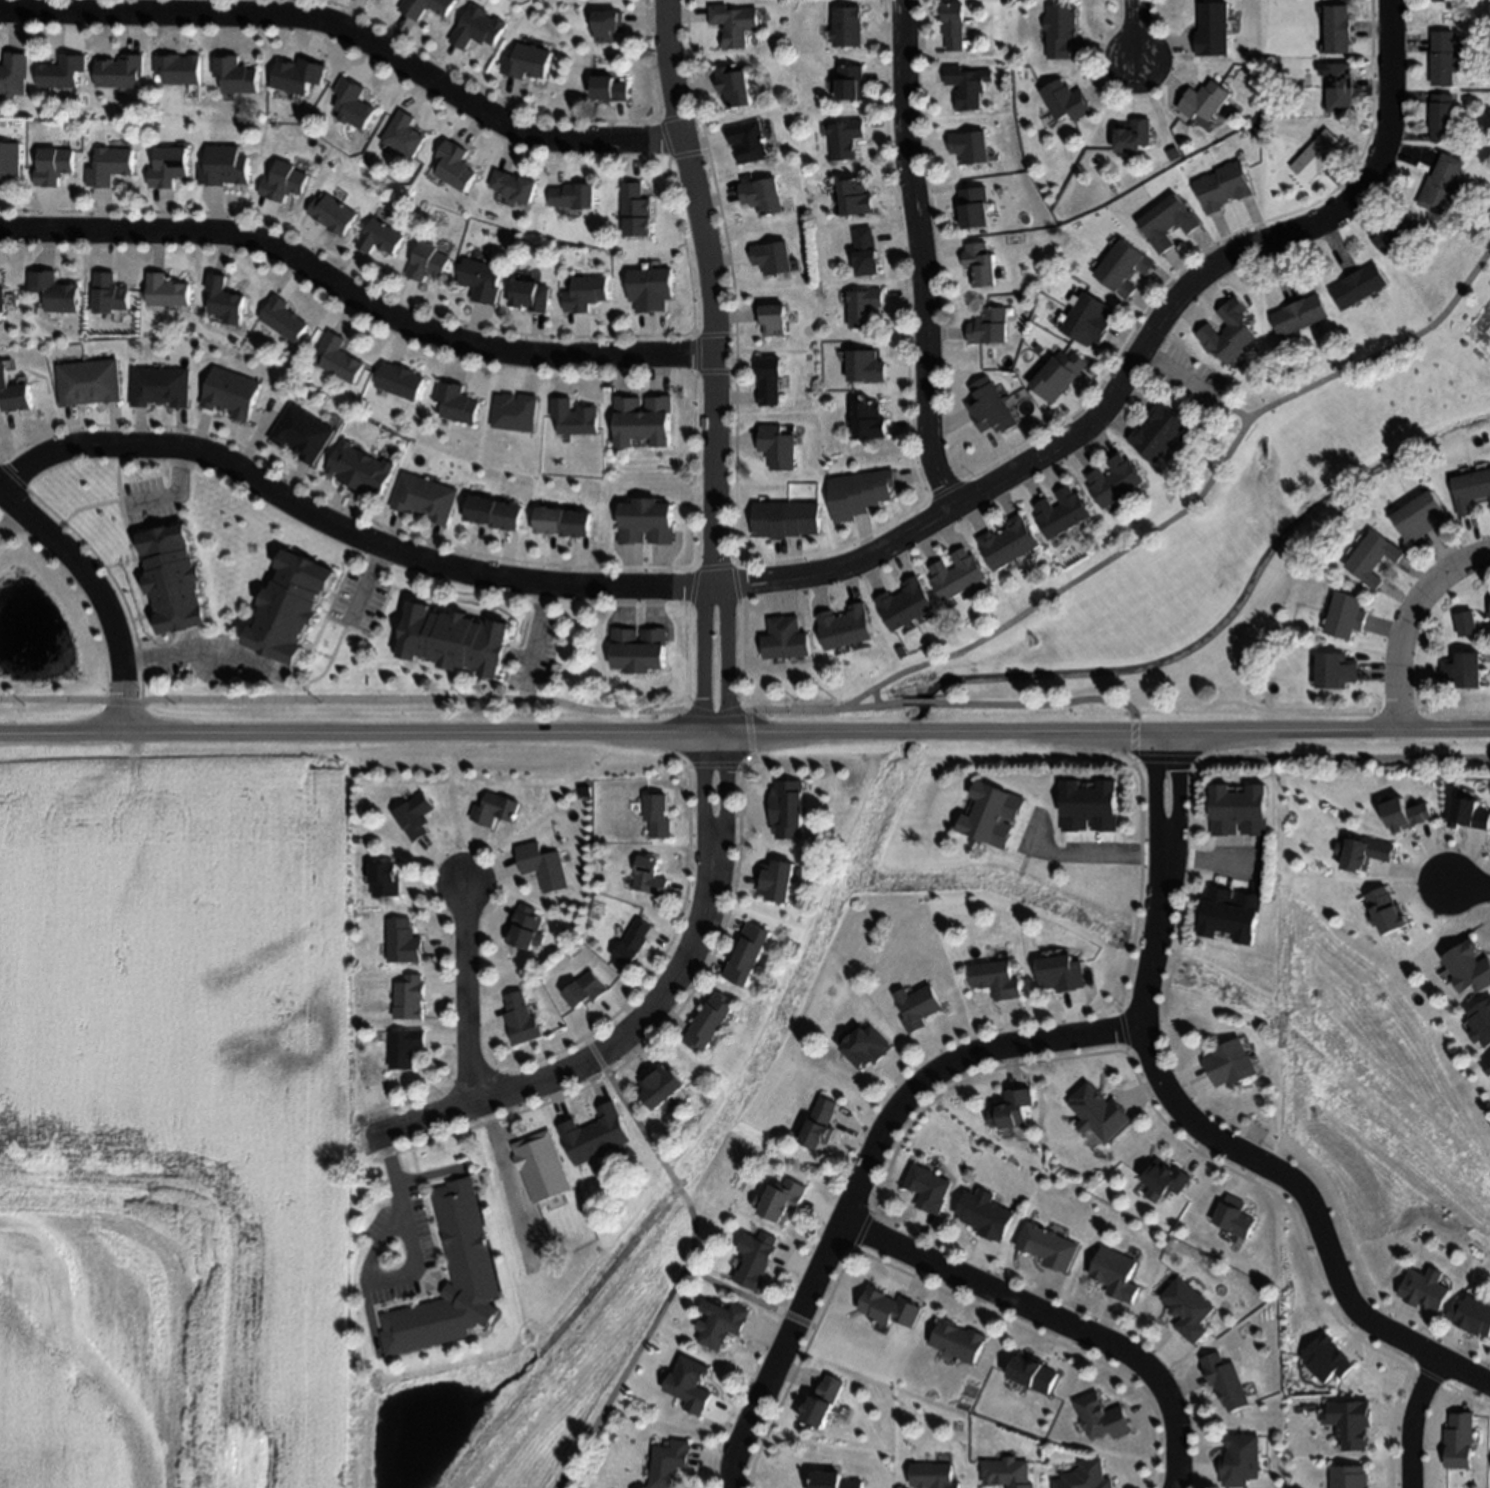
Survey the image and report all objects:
building: (1442, 0)
building: (390, 1)
building: (426, 7)
building: (735, 24)
building: (609, 25)
building: (955, 25)
building: (848, 26)
building: (477, 28)
building: (1213, 29)
building: (1338, 29)
building: (1062, 30)
road: (1138, 34)
road: (353, 36)
building: (1444, 59)
building: (526, 62)
building: (181, 69)
building: (64, 72)
building: (122, 72)
building: (15, 74)
building: (237, 75)
building: (300, 75)
building: (851, 83)
building: (735, 85)
building: (968, 85)
building: (1340, 87)
building: (610, 89)
building: (1205, 100)
building: (1067, 101)
building: (353, 104)
building: (1442, 118)
building: (403, 135)
building: (1134, 135)
building: (846, 139)
building: (748, 141)
building: (970, 146)
building: (1318, 156)
building: (10, 162)
building: (55, 166)
building: (111, 166)
building: (455, 166)
building: (170, 167)
building: (225, 167)
building: (282, 182)
building: (1443, 185)
building: (514, 186)
building: (1224, 187)
building: (761, 195)
building: (572, 196)
building: (856, 198)
building: (975, 208)
building: (636, 210)
building: (332, 214)
building: (1167, 222)
building: (1397, 233)
building: (379, 237)
building: (867, 253)
road: (925, 256)
building: (772, 257)
building: (427, 262)
building: (981, 264)
building: (1124, 267)
building: (481, 281)
building: (1358, 287)
building: (650, 289)
building: (168, 291)
building: (57, 292)
road: (710, 292)
building: (110, 294)
building: (586, 294)
building: (530, 295)
building: (2, 298)
building: (226, 300)
road: (354, 300)
building: (865, 307)
building: (1300, 315)
building: (774, 319)
building: (283, 320)
building: (1089, 320)
building: (989, 327)
building: (1228, 336)
building: (340, 358)
road: (1137, 364)
building: (866, 366)
building: (1060, 375)
building: (5, 378)
road: (1185, 380)
building: (401, 381)
building: (770, 382)
parking lot: (1191, 384)
building: (88, 386)
building: (157, 390)
building: (228, 396)
building: (17, 400)
building: (457, 403)
building: (990, 407)
building: (515, 412)
road: (1237, 415)
building: (574, 417)
building: (871, 421)
building: (644, 422)
building: (1160, 432)
building: (298, 437)
building: (779, 447)
building: (357, 473)
building: (1115, 480)
building: (1471, 490)
road: (175, 491)
building: (860, 493)
building: (426, 499)
building: (497, 513)
building: (1063, 513)
building: (1420, 517)
building: (787, 519)
building: (565, 521)
building: (647, 522)
road: (11, 525)
road: (344, 533)
building: (1009, 542)
park: (1190, 553)
building: (1372, 557)
building: (958, 575)
building: (180, 583)
road: (366, 584)
road: (98, 597)
building: (906, 604)
building: (283, 610)
building: (1346, 616)
building: (1489, 617)
road: (1407, 622)
building: (1466, 624)
building: (846, 628)
building: (786, 639)
building: (456, 640)
building: (639, 650)
road: (194, 659)
building: (1463, 670)
building: (1336, 671)
road: (700, 711)
road: (726, 713)
road: (826, 716)
road: (745, 736)
building: (1090, 806)
building: (787, 809)
building: (497, 810)
building: (1239, 810)
building: (658, 815)
building: (993, 815)
building: (416, 816)
road: (1108, 856)
road: (1215, 865)
building: (648, 877)
building: (386, 880)
building: (777, 880)
road: (1467, 890)
building: (1230, 914)
building: (525, 928)
building: (404, 939)
building: (633, 943)
building: (749, 954)
building: (1470, 968)
building: (1061, 974)
building: (996, 980)
building: (585, 991)
road: (464, 995)
building: (410, 997)
building: (918, 1006)
building: (522, 1019)
building: (711, 1021)
building: (868, 1047)
building: (404, 1048)
road: (603, 1054)
building: (1230, 1064)
building: (662, 1086)
building: (1013, 1110)
building: (1100, 1113)
building: (822, 1124)
park: (1374, 1125)
road: (1194, 1127)
building: (596, 1136)
road: (500, 1156)
building: (542, 1167)
road: (863, 1178)
building: (1167, 1178)
building: (930, 1189)
building: (784, 1200)
building: (987, 1214)
building: (1234, 1217)
building: (464, 1236)
building: (1050, 1247)
building: (756, 1260)
road: (413, 1271)
road: (680, 1274)
building: (1115, 1274)
building: (1422, 1293)
road: (740, 1296)
building: (891, 1308)
building: (1185, 1308)
building: (1474, 1319)
road: (1050, 1321)
building: (725, 1324)
building: (958, 1341)
building: (1033, 1374)
building: (1222, 1382)
building: (691, 1385)
building: (824, 1402)
building: (1101, 1418)
road: (1410, 1421)
road: (1394, 1426)
building: (1344, 1427)
building: (1237, 1460)
building: (670, 1463)
building: (1006, 1473)
building: (933, 1476)
building: (1083, 1477)
building: (1345, 1479)
building: (833, 1481)

